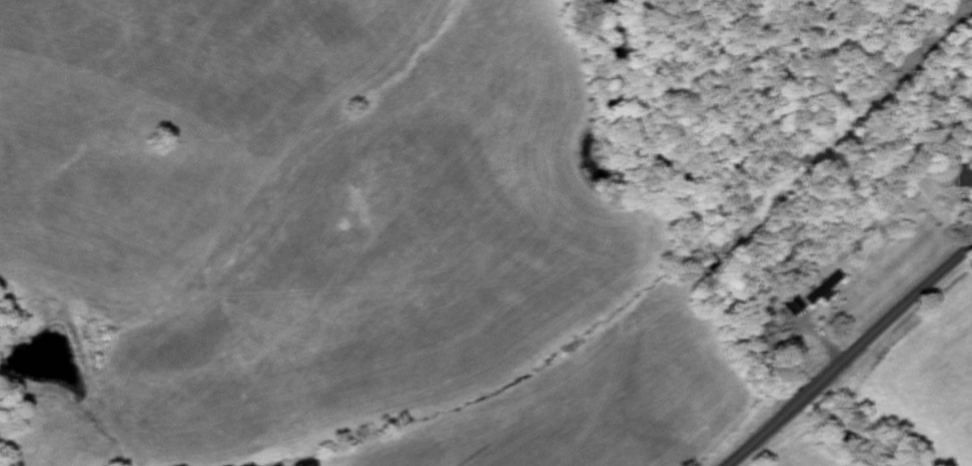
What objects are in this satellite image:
building: (825, 290)
building: (795, 306)
road: (849, 356)

